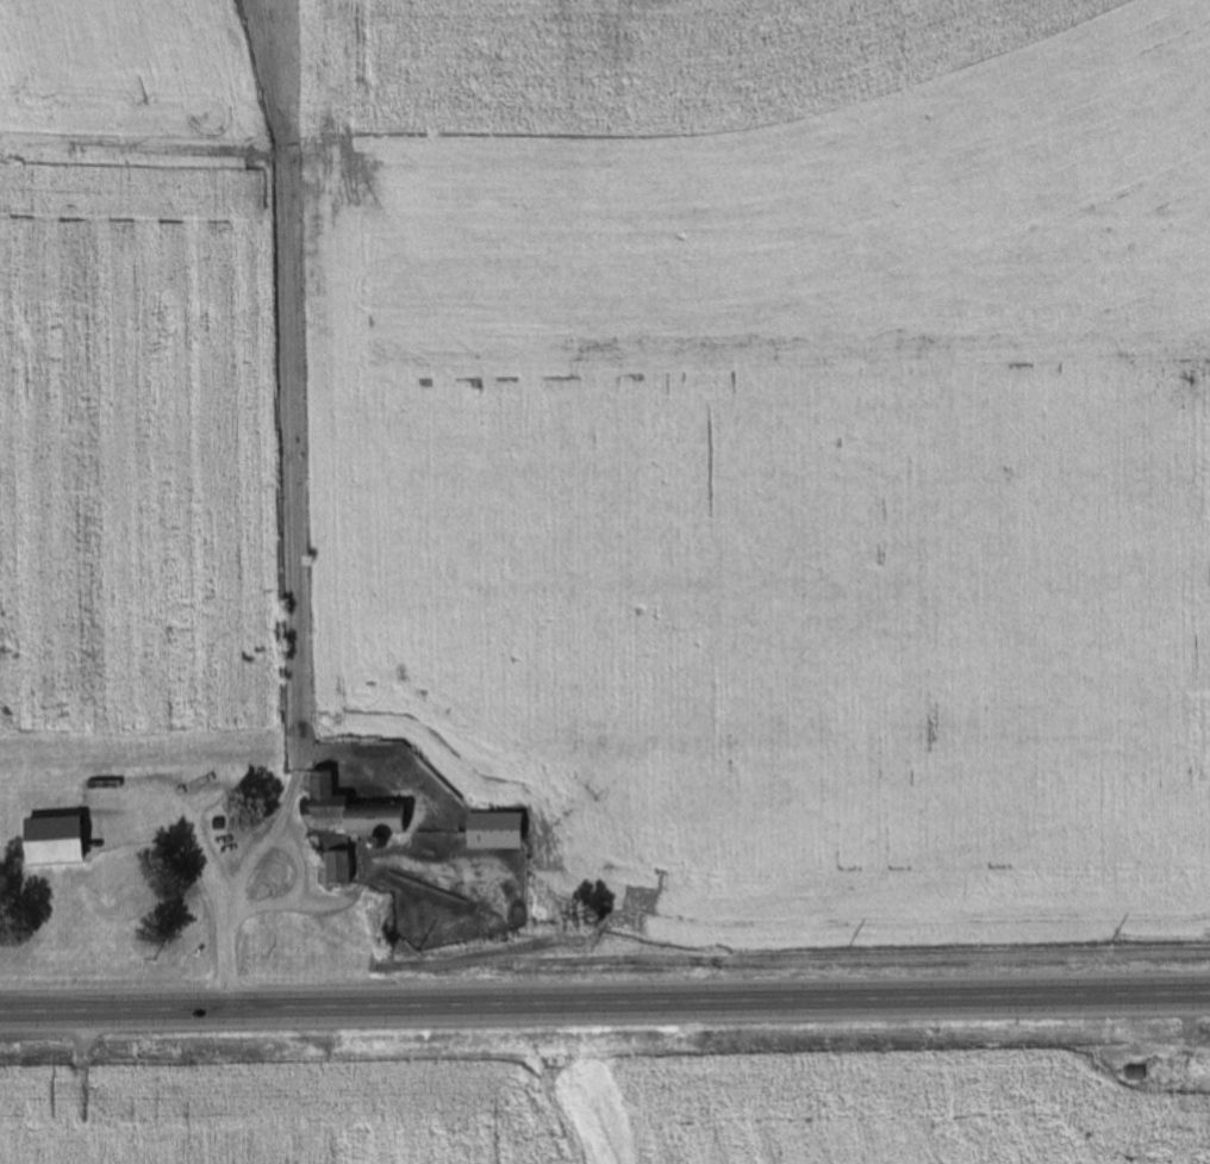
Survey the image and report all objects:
building: (343, 826)
building: (493, 830)
road: (605, 1010)
building: (1136, 1075)

